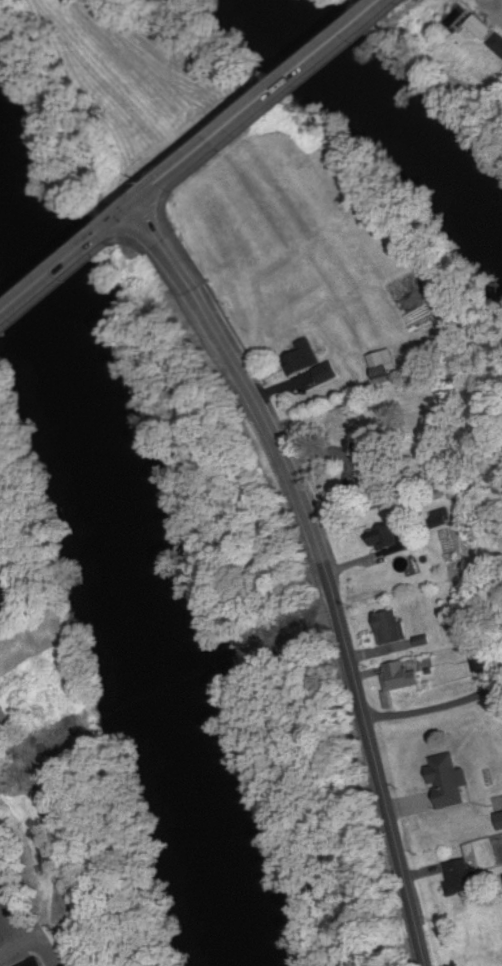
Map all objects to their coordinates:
road: (321, 48)
river: (383, 109)
road: (201, 146)
road: (162, 236)
road: (69, 251)
building: (303, 360)
building: (383, 367)
building: (327, 373)
building: (366, 462)
building: (386, 540)
river: (127, 560)
road: (336, 610)
building: (390, 627)
building: (401, 674)
building: (1, 720)
building: (443, 788)
building: (499, 821)
building: (1, 881)
road: (23, 908)
building: (35, 962)

